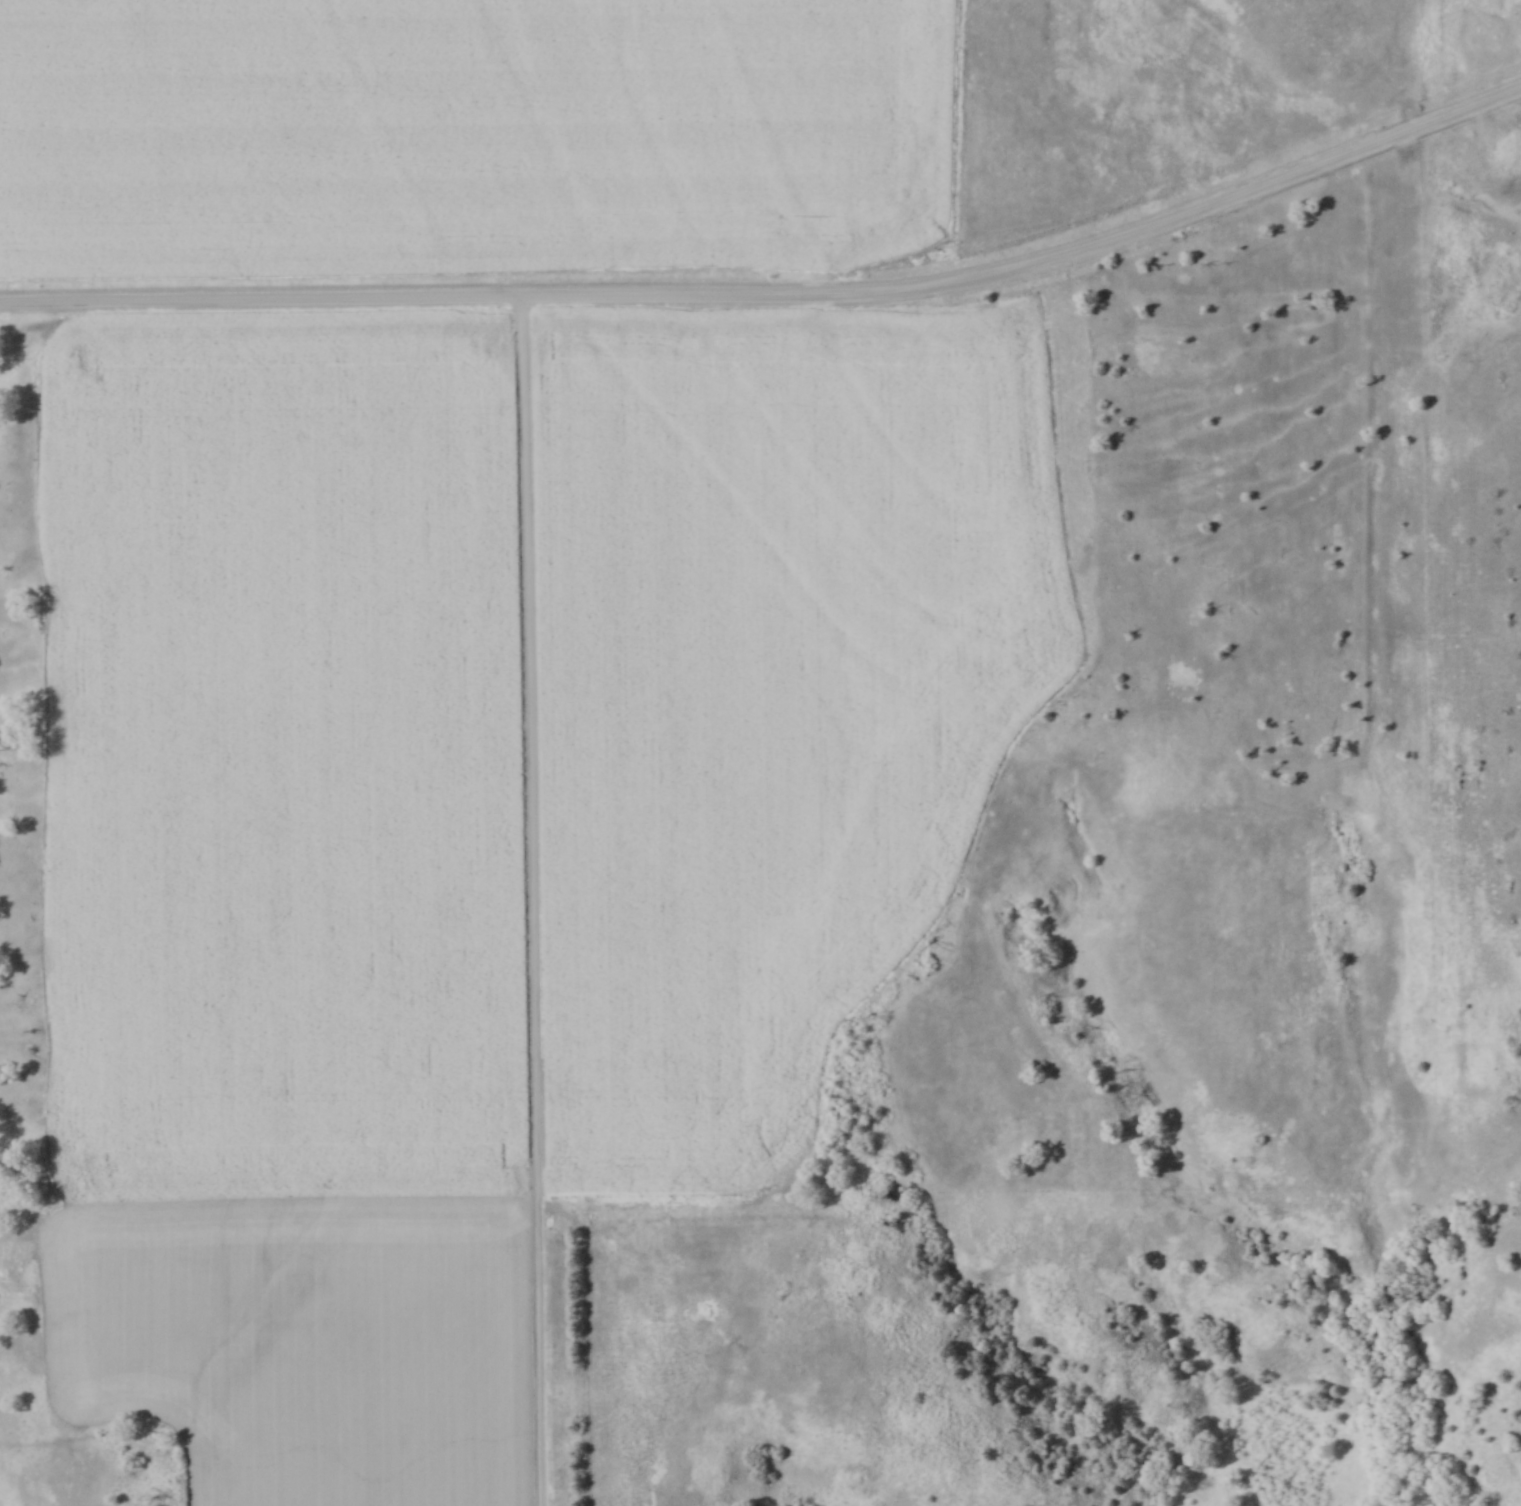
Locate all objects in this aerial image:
crop: (470, 137)
road: (777, 296)
park: (1473, 600)
crop: (769, 693)
crop: (283, 758)
road: (535, 901)

